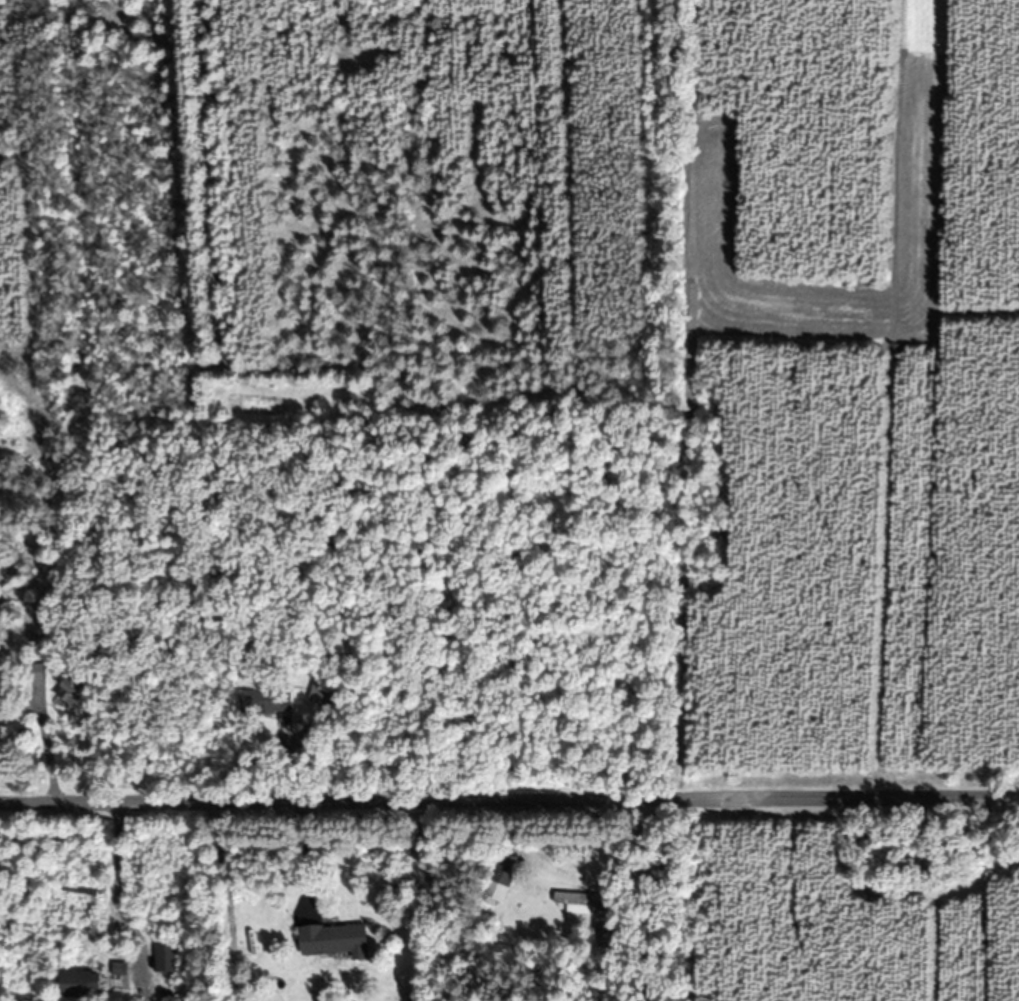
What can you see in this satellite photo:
building: (75, 684)
building: (1, 692)
building: (322, 695)
building: (275, 700)
road: (509, 797)
road: (115, 892)
building: (582, 901)
building: (606, 936)
building: (338, 939)
building: (167, 956)
building: (79, 983)
building: (275, 997)

